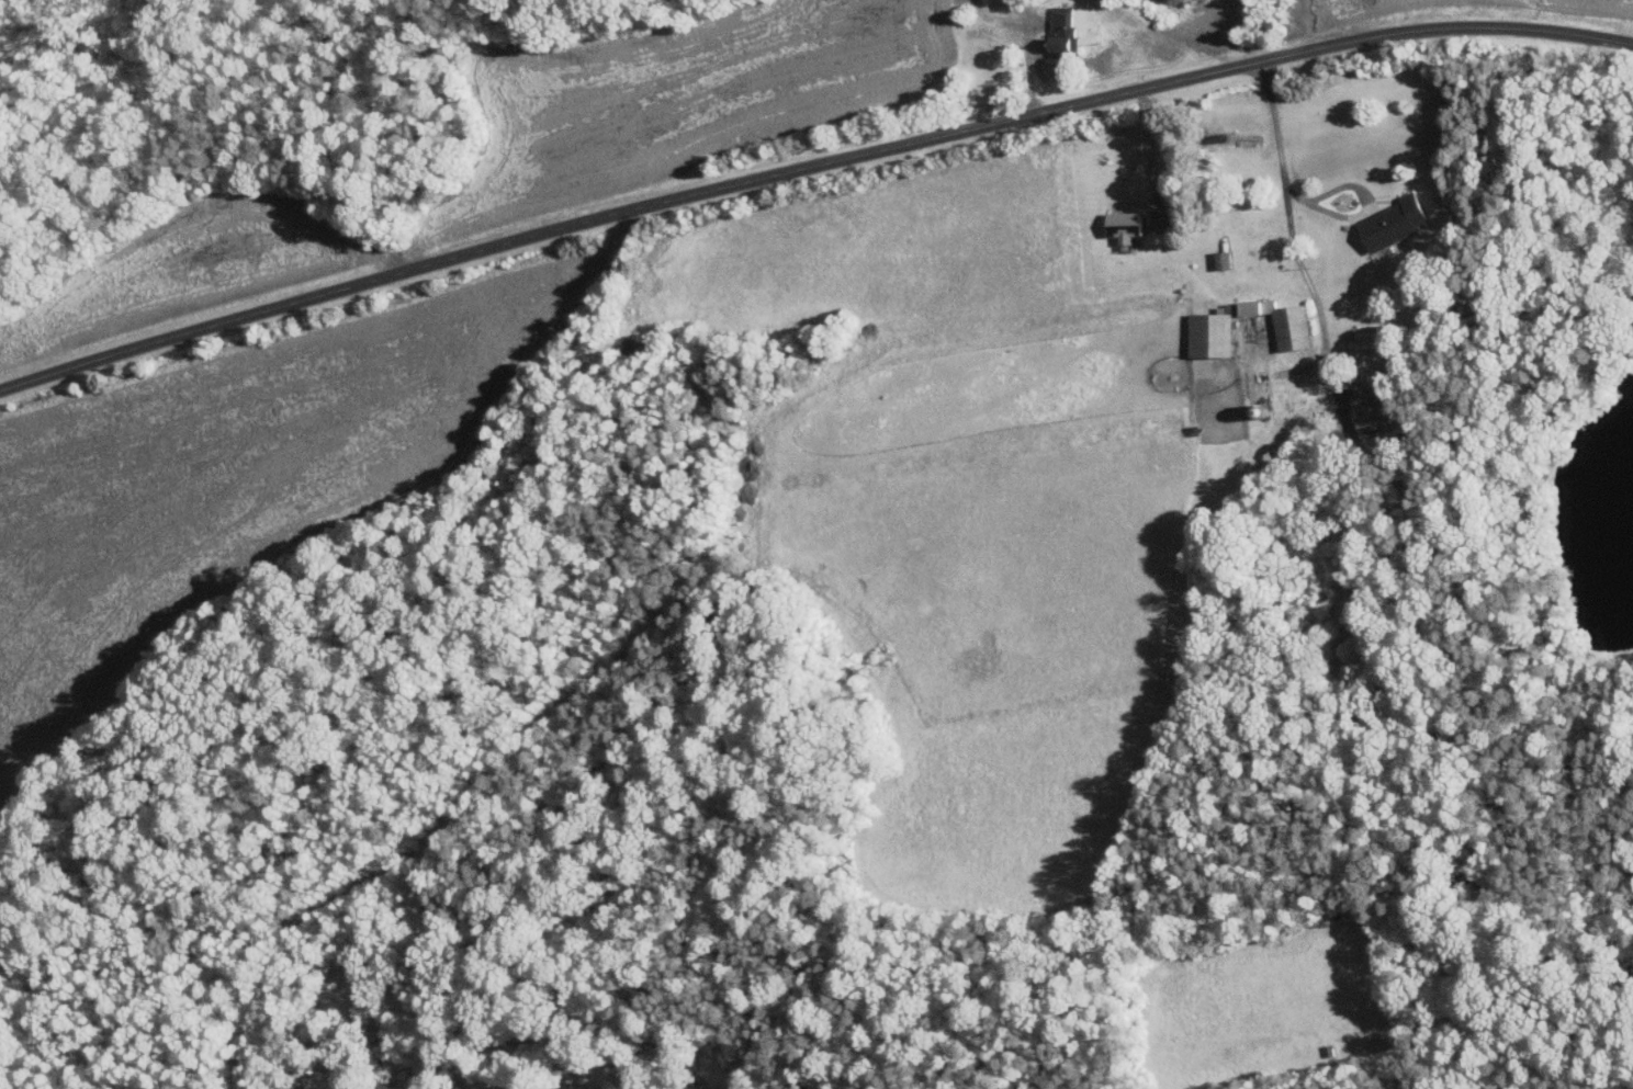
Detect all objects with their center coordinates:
building: (1058, 29)
road: (1025, 58)
road: (1149, 146)
road: (809, 166)
building: (1389, 223)
road: (1288, 224)
building: (1120, 225)
building: (1206, 331)
building: (1364, 338)
building: (1367, 407)

